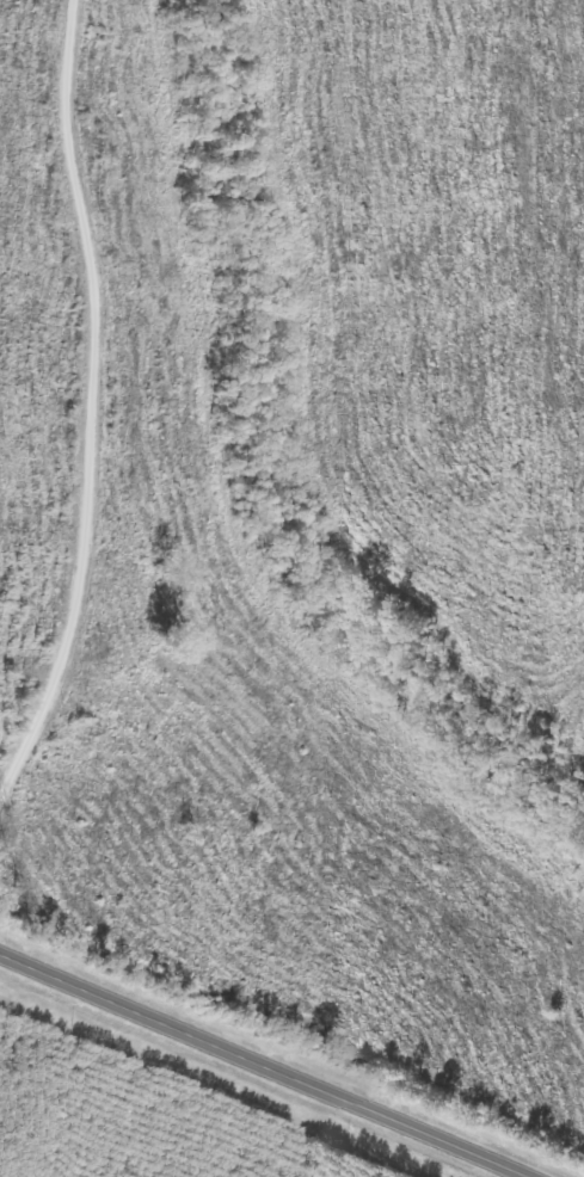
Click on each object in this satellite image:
road: (260, 1066)

